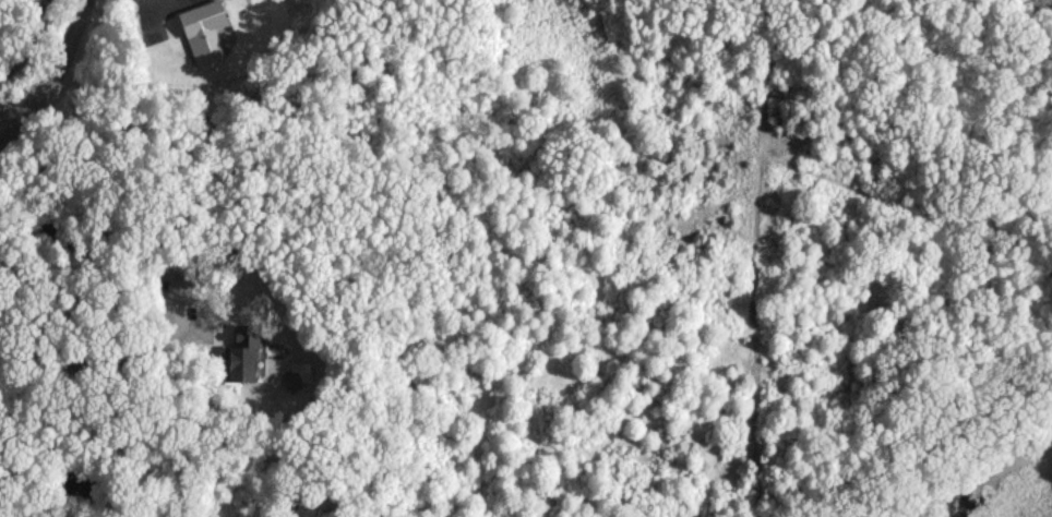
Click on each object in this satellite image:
road: (25, 39)
road: (22, 69)
road: (45, 69)
building: (243, 356)
road: (107, 359)

